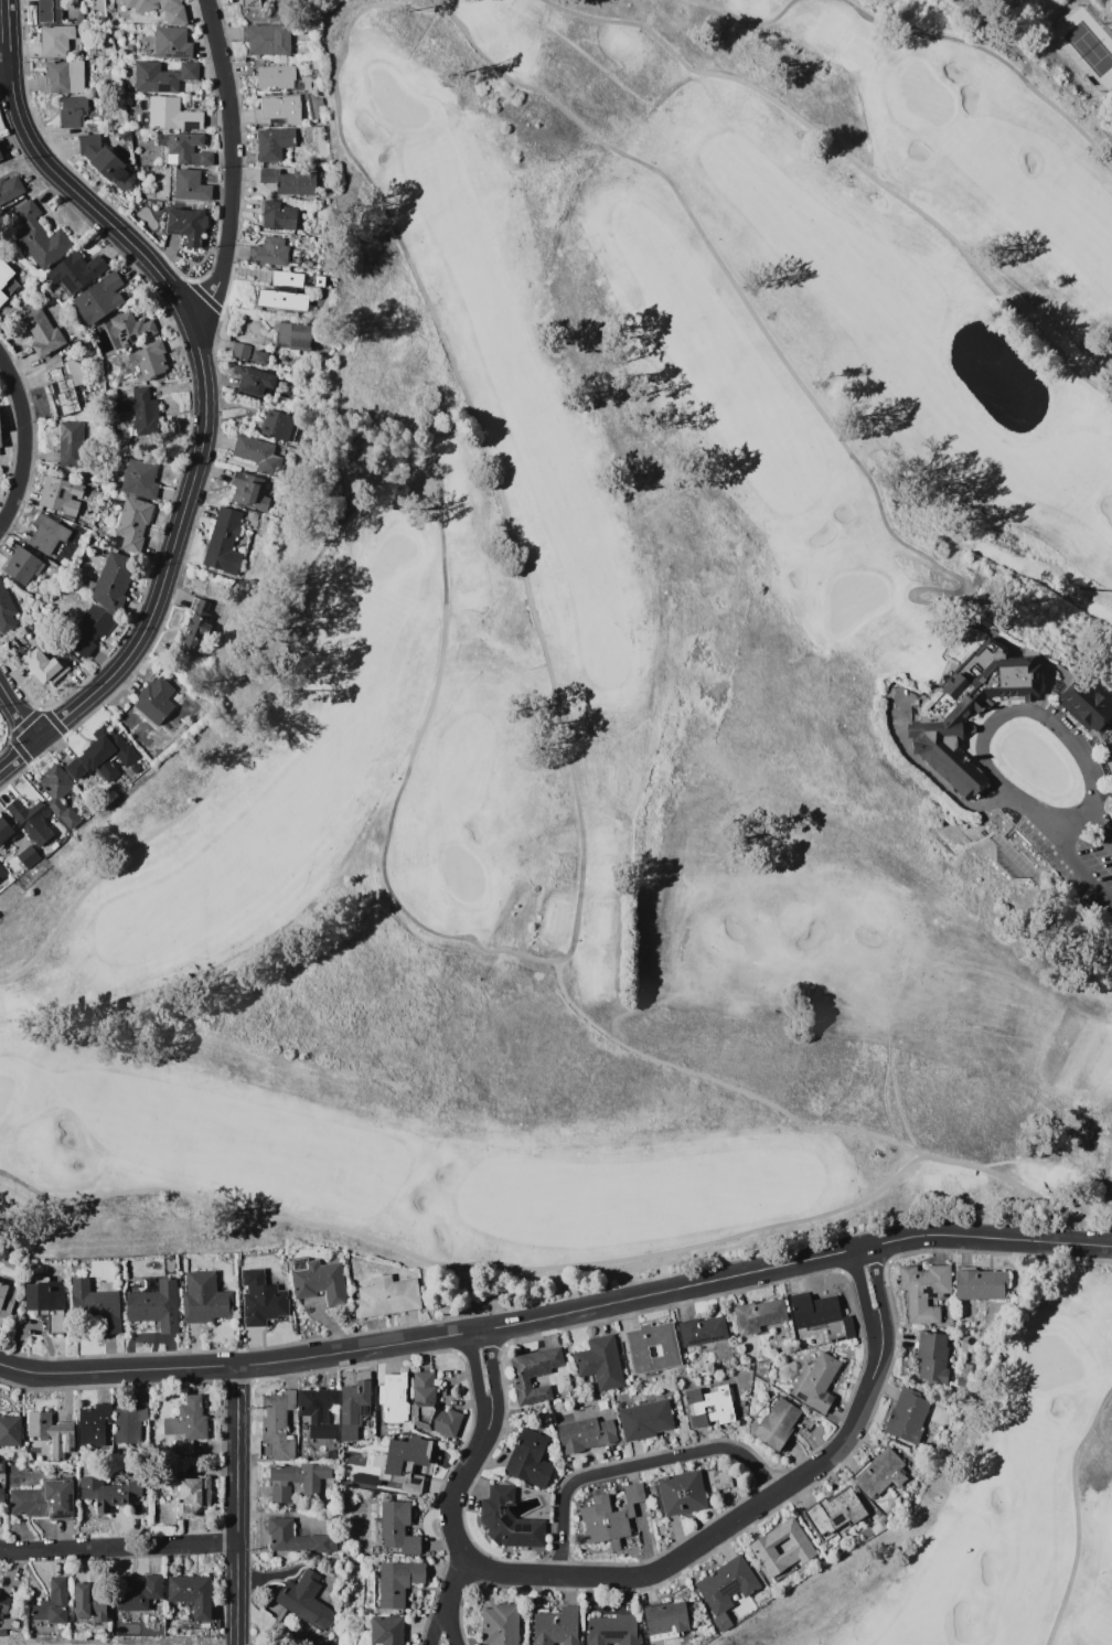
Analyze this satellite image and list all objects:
building: (250, 3)
building: (161, 9)
building: (50, 11)
building: (101, 19)
building: (267, 39)
building: (55, 40)
building: (169, 43)
road: (4, 65)
building: (162, 76)
building: (277, 77)
building: (58, 78)
building: (314, 105)
building: (72, 110)
building: (278, 110)
building: (171, 114)
building: (125, 133)
building: (269, 145)
building: (182, 149)
building: (0, 153)
building: (105, 161)
road: (232, 164)
road: (60, 178)
building: (290, 181)
building: (190, 185)
building: (10, 189)
building: (278, 215)
building: (186, 224)
building: (39, 236)
building: (269, 252)
building: (309, 263)
building: (324, 267)
building: (75, 270)
building: (4, 273)
building: (319, 280)
building: (12, 284)
building: (6, 290)
building: (284, 291)
building: (2, 298)
building: (99, 298)
building: (312, 301)
building: (129, 329)
building: (42, 332)
building: (295, 335)
building: (242, 350)
building: (259, 356)
building: (150, 360)
building: (254, 380)
building: (64, 387)
building: (141, 410)
building: (279, 425)
road: (23, 441)
building: (0, 444)
building: (71, 444)
building: (0, 453)
building: (257, 453)
building: (140, 479)
building: (248, 490)
building: (60, 495)
building: (133, 523)
building: (47, 534)
building: (113, 541)
building: (223, 542)
road: (171, 551)
building: (21, 566)
building: (45, 570)
building: (114, 580)
building: (86, 584)
building: (252, 584)
building: (7, 610)
building: (195, 627)
building: (88, 630)
building: (41, 665)
park: (632, 685)
building: (156, 699)
building: (1084, 705)
building: (969, 708)
road: (1024, 711)
road: (18, 712)
road: (18, 755)
building: (104, 758)
building: (135, 767)
building: (60, 794)
building: (31, 819)
road: (1103, 823)
building: (6, 831)
building: (42, 852)
building: (28, 855)
road: (1083, 867)
building: (2, 872)
road: (771, 1267)
building: (319, 1281)
road: (877, 1283)
building: (981, 1283)
road: (859, 1289)
building: (924, 1290)
building: (386, 1296)
building: (204, 1297)
building: (7, 1299)
building: (261, 1299)
building: (47, 1301)
building: (153, 1303)
building: (95, 1305)
building: (819, 1313)
building: (758, 1314)
building: (703, 1332)
building: (835, 1338)
building: (653, 1347)
building: (971, 1355)
building: (931, 1357)
building: (600, 1361)
road: (217, 1366)
road: (493, 1372)
building: (535, 1374)
building: (965, 1374)
road: (475, 1376)
building: (819, 1382)
building: (394, 1398)
building: (741, 1402)
building: (708, 1406)
building: (431, 1408)
building: (353, 1409)
building: (318, 1411)
building: (907, 1417)
building: (186, 1419)
building: (645, 1419)
building: (39, 1423)
building: (128, 1423)
building: (277, 1423)
building: (93, 1424)
building: (777, 1424)
road: (852, 1424)
building: (538, 1427)
building: (10, 1430)
building: (370, 1430)
building: (586, 1432)
building: (61, 1439)
building: (373, 1445)
building: (183, 1448)
building: (15, 1457)
building: (355, 1457)
building: (530, 1459)
building: (404, 1462)
road: (634, 1464)
building: (2, 1466)
building: (122, 1471)
building: (172, 1472)
building: (879, 1472)
building: (297, 1480)
building: (365, 1480)
building: (133, 1488)
building: (159, 1488)
building: (205, 1489)
building: (689, 1489)
building: (105, 1495)
building: (189, 1496)
building: (1, 1497)
building: (386, 1497)
building: (44, 1499)
park: (993, 1503)
road: (236, 1505)
building: (835, 1514)
road: (451, 1516)
building: (612, 1519)
building: (354, 1520)
building: (509, 1520)
building: (397, 1528)
building: (296, 1538)
road: (117, 1547)
building: (373, 1549)
building: (782, 1550)
building: (332, 1558)
road: (632, 1578)
building: (396, 1582)
building: (725, 1589)
building: (137, 1592)
building: (191, 1593)
building: (306, 1600)
building: (82, 1601)
building: (52, 1602)
building: (3, 1604)
building: (97, 1607)
building: (742, 1607)
building: (158, 1609)
building: (190, 1610)
road: (443, 1616)
building: (665, 1617)
building: (500, 1625)
building: (555, 1627)
building: (612, 1630)
building: (386, 1631)
building: (2, 1633)

